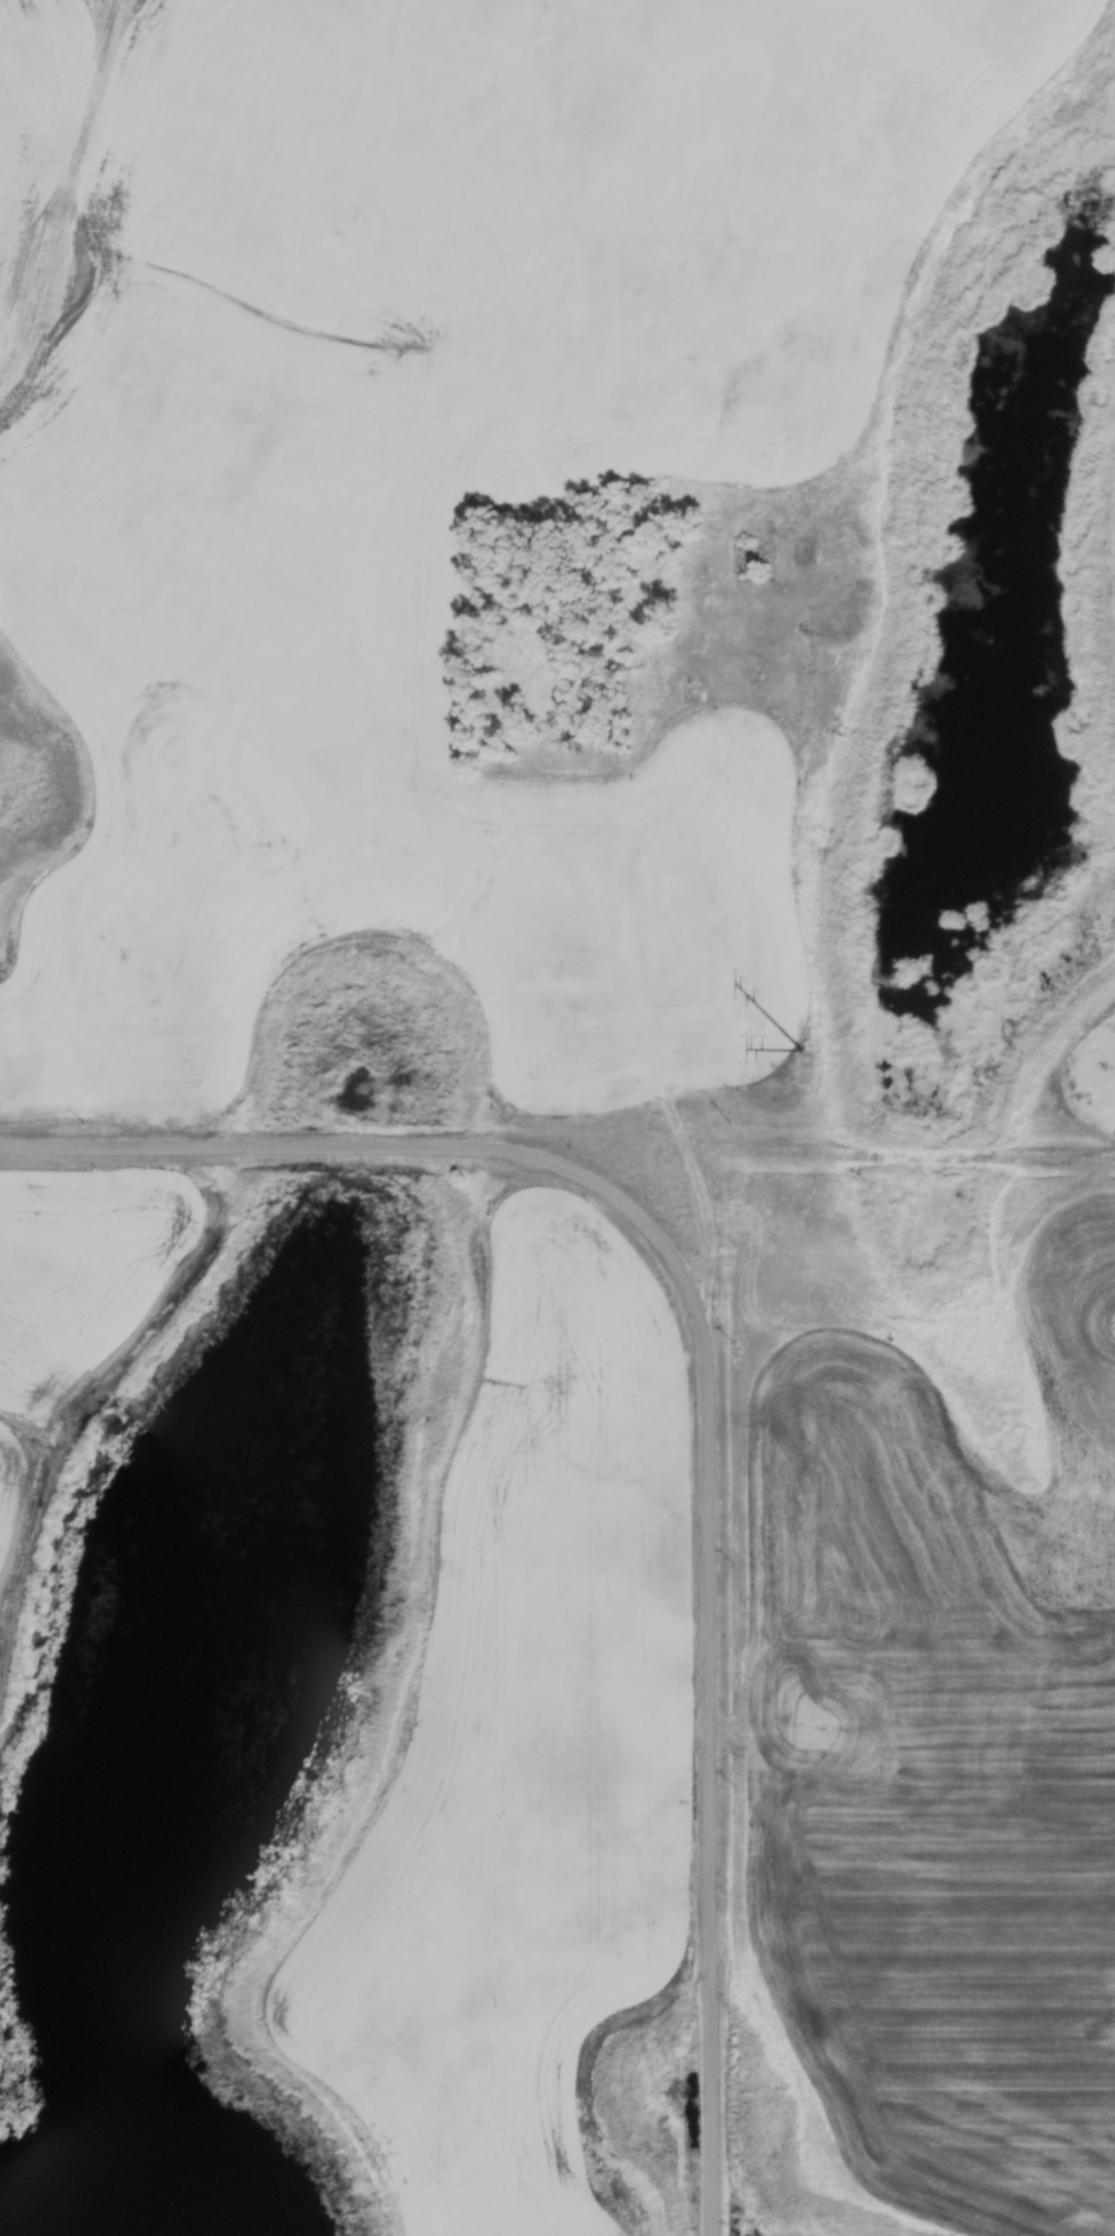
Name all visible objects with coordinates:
building: (578, 745)
power tower: (802, 1032)
road: (703, 1389)

